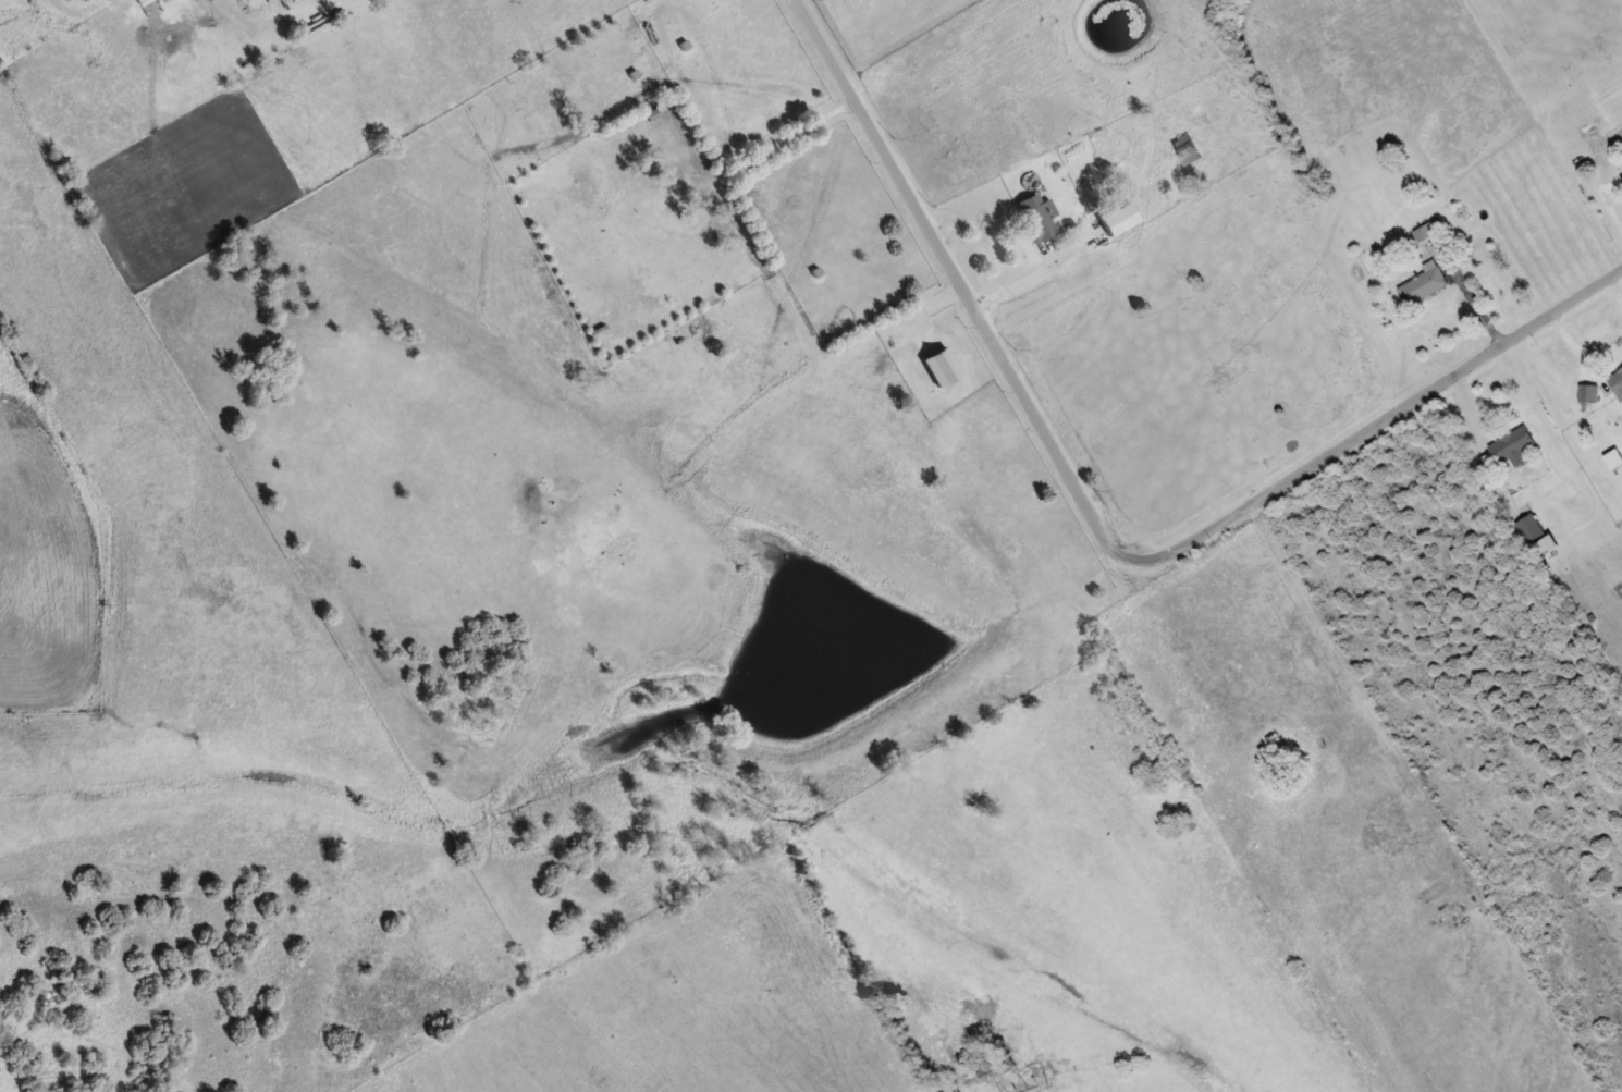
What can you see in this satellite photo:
building: (143, 1)
building: (1185, 149)
building: (1036, 217)
building: (1117, 219)
building: (1426, 231)
building: (1424, 284)
building: (1617, 382)
building: (1589, 393)
building: (1513, 445)
building: (1531, 527)
road: (1098, 535)
building: (1000, 1064)

